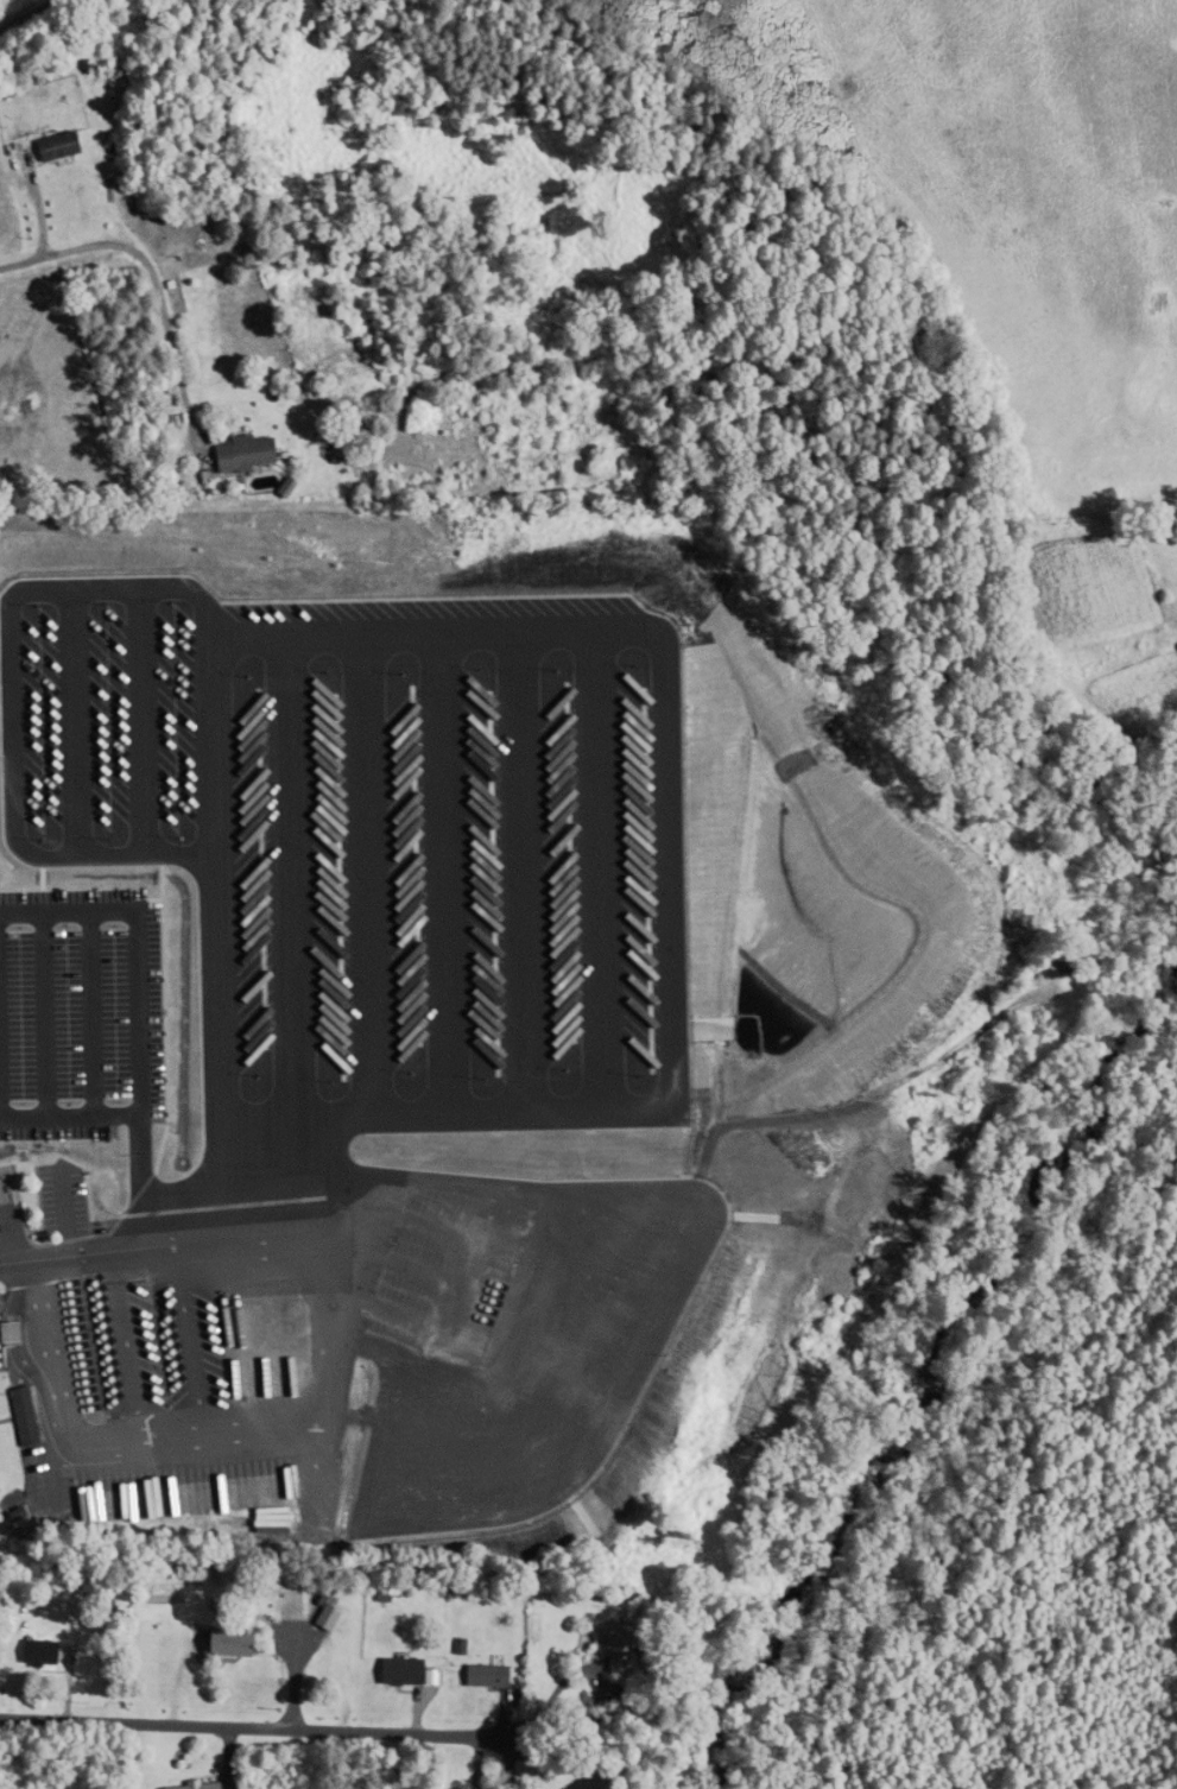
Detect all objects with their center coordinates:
building: (44, 146)
road: (94, 246)
building: (236, 453)
building: (30, 548)
building: (297, 639)
road: (30, 652)
building: (586, 658)
road: (265, 710)
building: (303, 1007)
building: (373, 1011)
road: (331, 1126)
building: (346, 1436)
building: (283, 1604)
building: (220, 1641)
building: (605, 1644)
building: (32, 1651)
building: (393, 1674)
building: (477, 1675)
road: (268, 1726)
building: (578, 1783)
building: (182, 1785)

